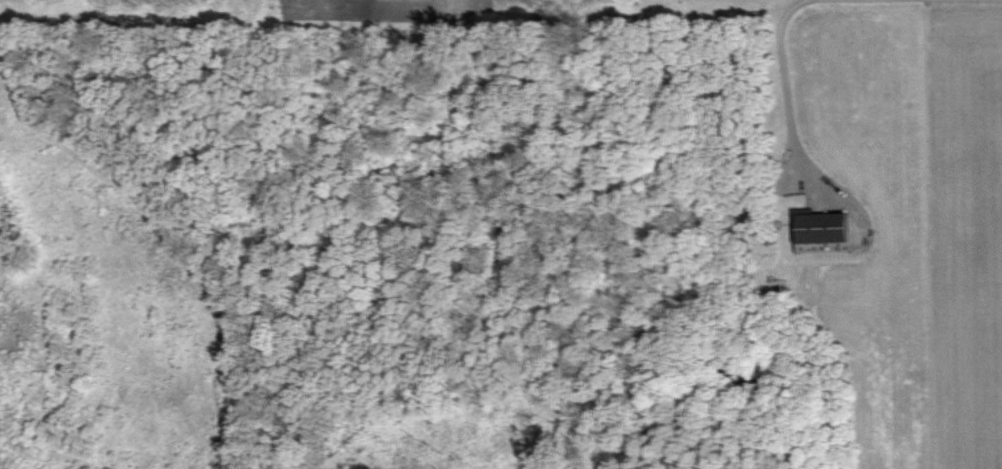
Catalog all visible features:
road: (784, 85)

